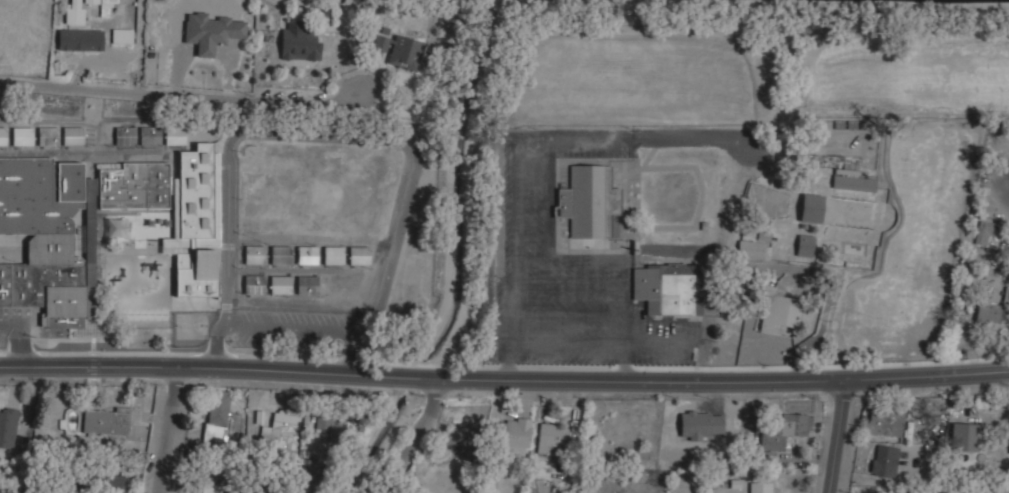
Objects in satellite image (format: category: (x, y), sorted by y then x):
building: (216, 7)
building: (75, 10)
building: (115, 35)
building: (298, 43)
building: (399, 50)
road: (164, 91)
crop: (795, 115)
road: (333, 132)
building: (149, 135)
building: (3, 136)
building: (21, 136)
building: (48, 136)
building: (72, 136)
building: (125, 136)
building: (175, 136)
building: (774, 154)
building: (853, 183)
building: (134, 186)
building: (587, 201)
building: (810, 208)
road: (516, 211)
building: (194, 222)
building: (985, 230)
building: (48, 235)
building: (803, 244)
building: (753, 249)
building: (254, 255)
building: (280, 255)
building: (306, 255)
building: (333, 255)
building: (358, 255)
road: (574, 260)
parking lot: (567, 268)
building: (253, 284)
building: (280, 285)
building: (306, 285)
building: (662, 289)
building: (1006, 293)
building: (779, 312)
building: (987, 314)
road: (552, 316)
parking lot: (14, 320)
road: (9, 325)
park: (191, 325)
road: (621, 327)
parking lot: (286, 329)
road: (287, 330)
road: (550, 343)
road: (656, 343)
road: (20, 348)
road: (504, 379)
building: (222, 414)
building: (105, 421)
building: (885, 421)
building: (330, 424)
building: (700, 425)
building: (7, 427)
road: (170, 429)
building: (279, 430)
building: (783, 431)
building: (211, 435)
road: (417, 435)
building: (458, 436)
building: (512, 436)
road: (837, 436)
building: (963, 436)
building: (552, 438)
building: (384, 454)
building: (884, 461)
building: (100, 483)
building: (760, 487)
building: (208, 488)

